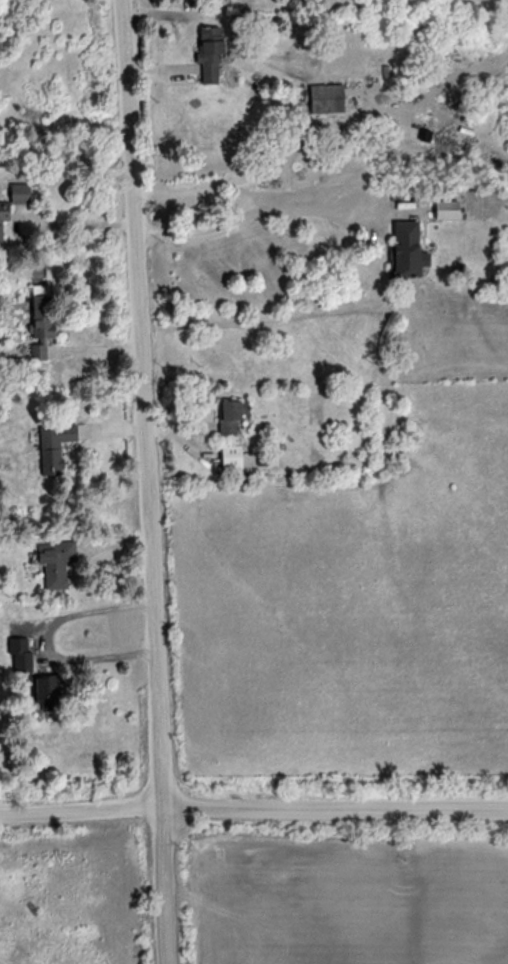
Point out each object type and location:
building: (209, 55)
building: (324, 99)
road: (263, 173)
building: (18, 194)
road: (274, 211)
road: (90, 223)
building: (2, 227)
road: (13, 232)
building: (405, 251)
building: (38, 328)
building: (10, 366)
building: (228, 418)
building: (53, 445)
building: (230, 457)
road: (153, 481)
building: (55, 566)
road: (45, 640)
building: (18, 655)
building: (43, 693)
road: (253, 807)

